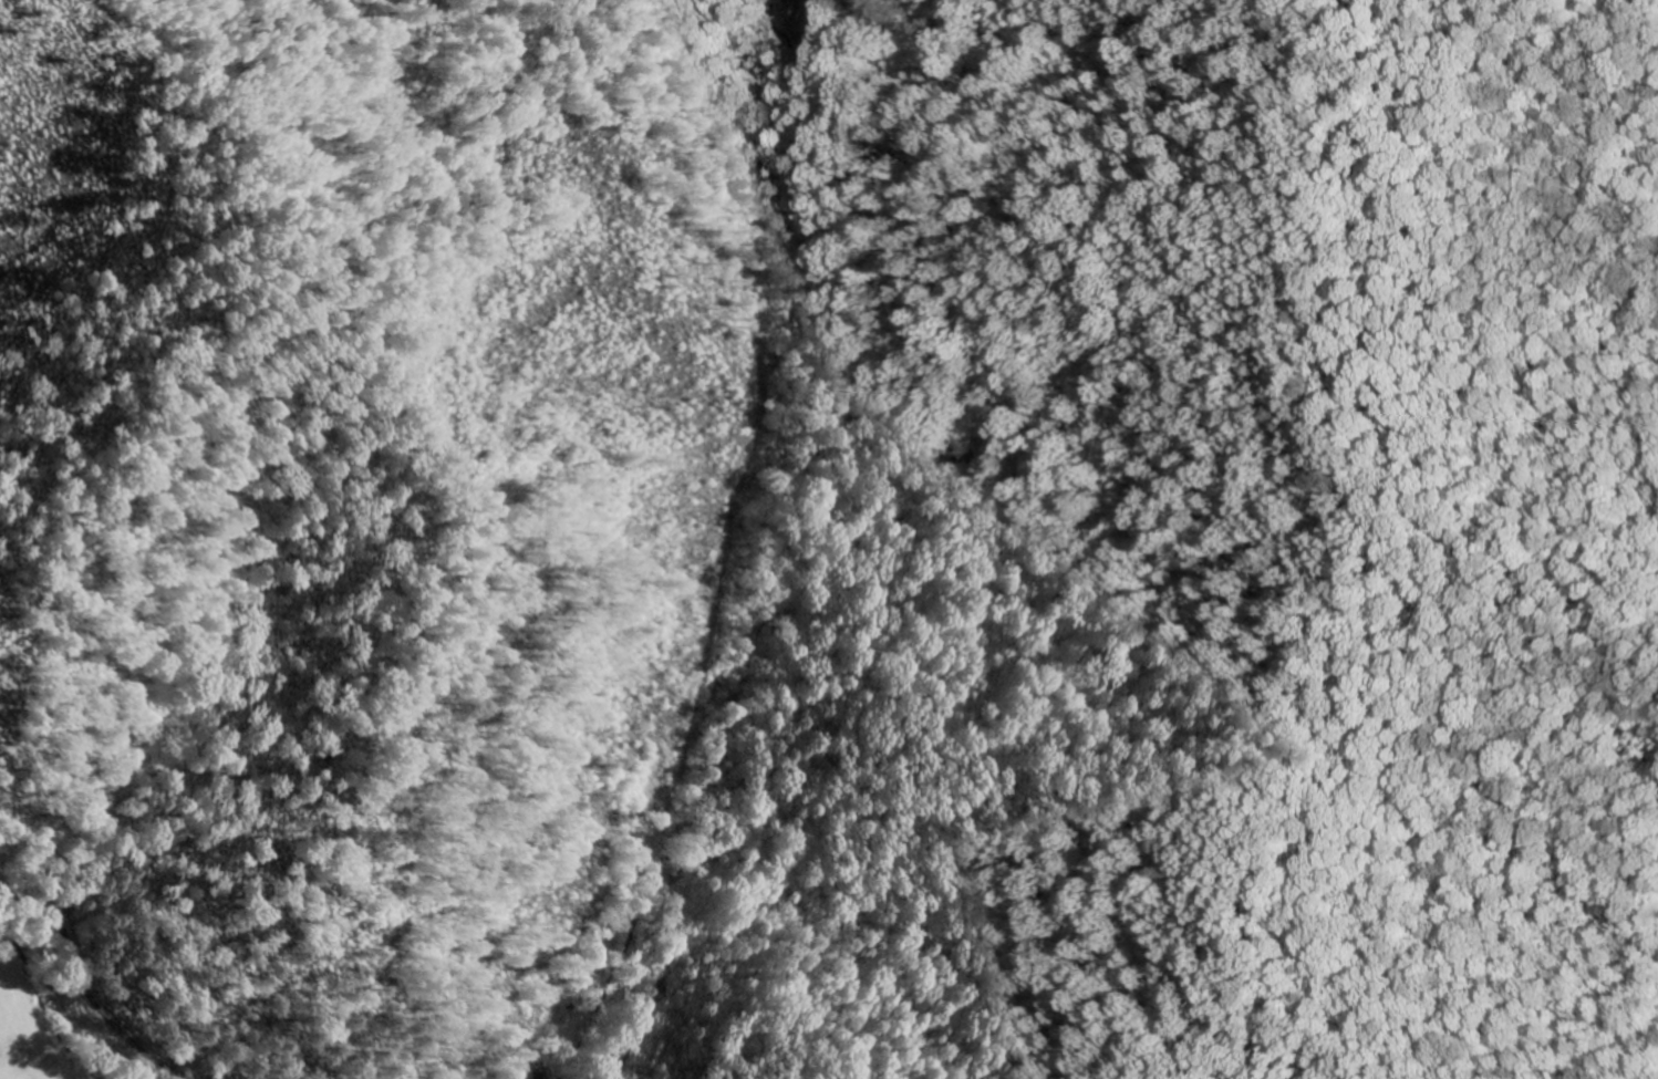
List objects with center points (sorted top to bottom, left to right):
road: (732, 547)
road: (85, 990)

